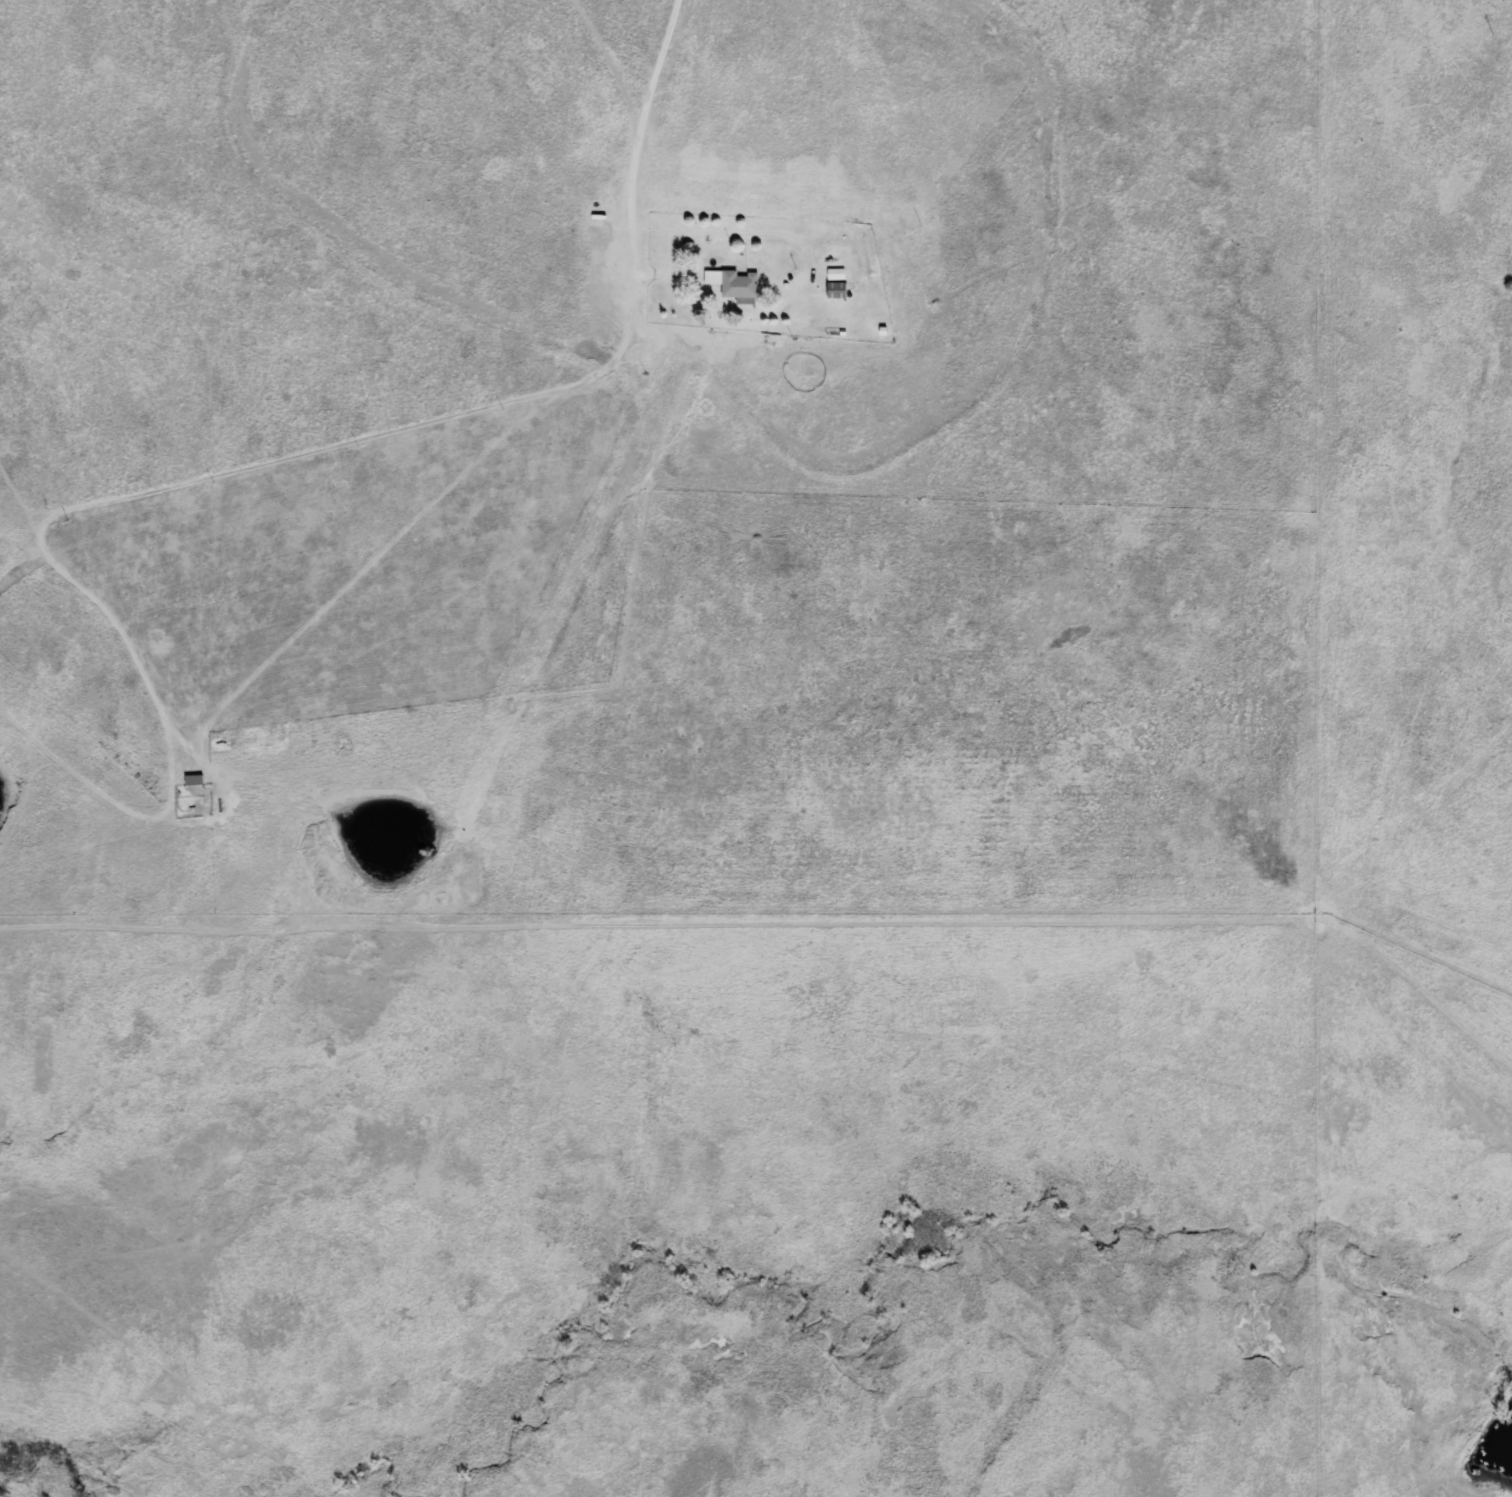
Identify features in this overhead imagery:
road: (650, 153)
building: (834, 274)
building: (732, 285)
building: (834, 291)
building: (191, 780)

